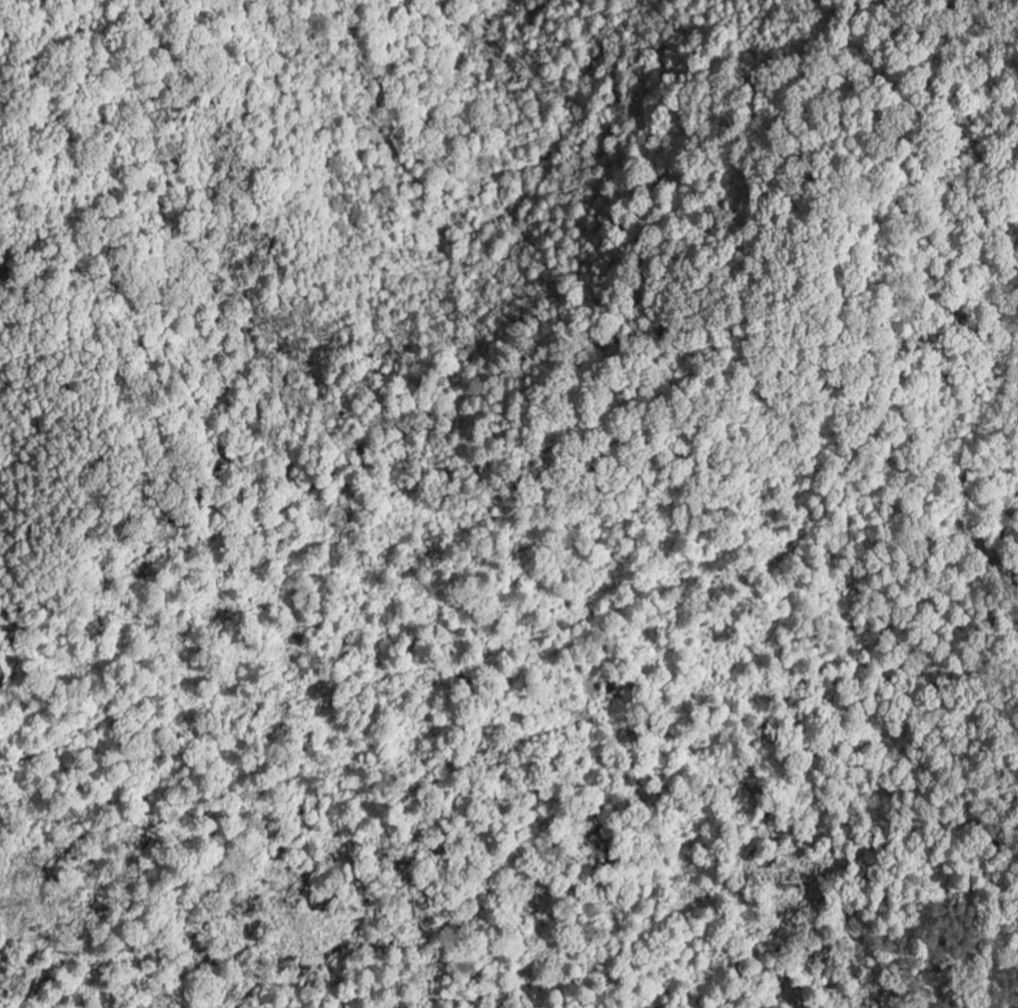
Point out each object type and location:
road: (1004, 529)

